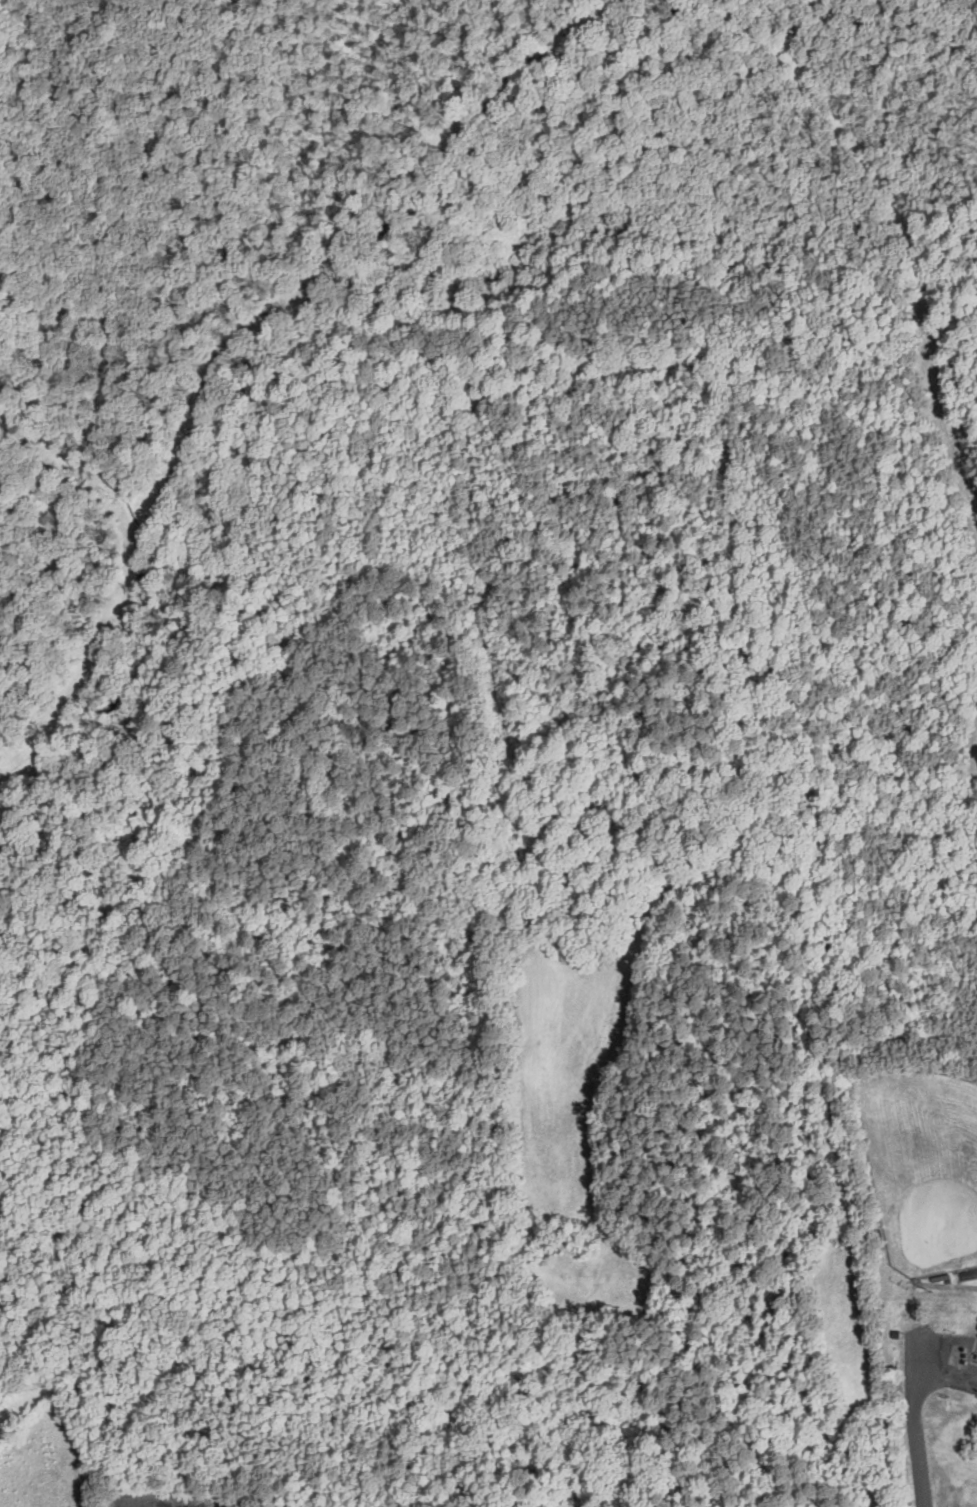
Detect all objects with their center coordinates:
park: (926, 1161)

